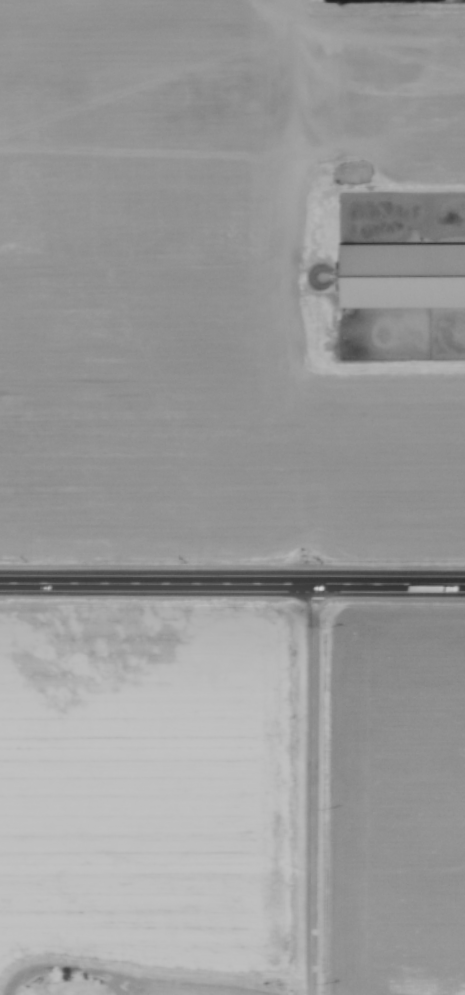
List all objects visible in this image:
building: (401, 278)
road: (232, 583)
road: (311, 789)

